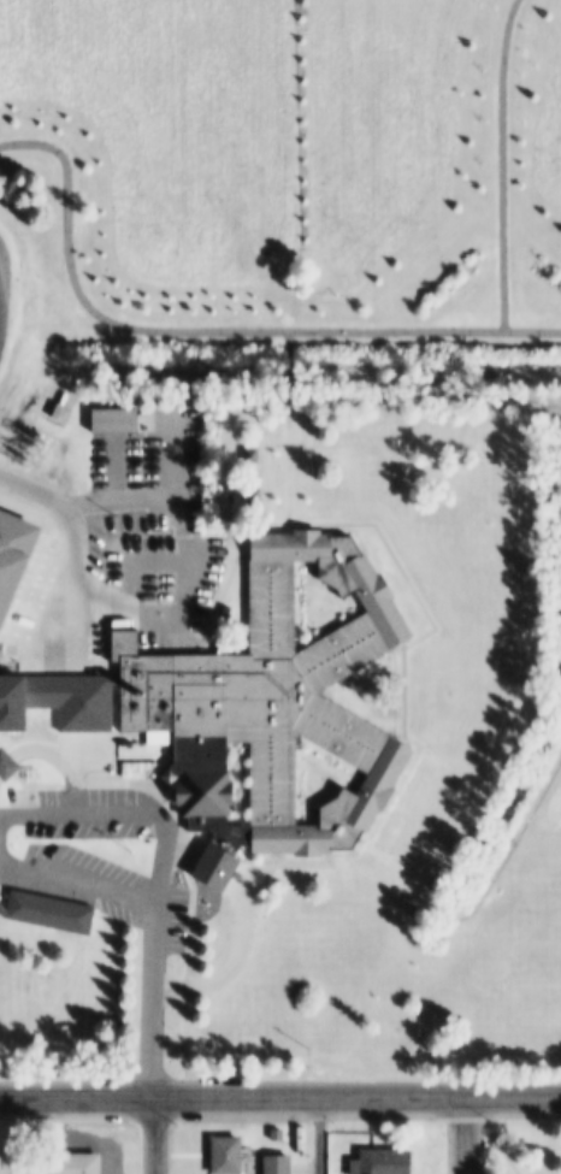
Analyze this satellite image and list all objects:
road: (501, 165)
park: (58, 246)
road: (209, 332)
storage tank: (63, 405)
building: (114, 420)
parking lot: (172, 459)
road: (71, 536)
building: (13, 555)
building: (1, 650)
building: (284, 695)
building: (77, 700)
building: (14, 703)
road: (128, 813)
parking lot: (102, 857)
road: (78, 881)
building: (63, 914)
road: (152, 1002)
road: (280, 1097)
building: (282, 1134)
road: (153, 1135)
road: (320, 1135)
road: (467, 1135)
road: (495, 1135)
park: (522, 1150)
building: (232, 1155)
building: (390, 1161)
building: (81, 1163)
building: (283, 1164)

